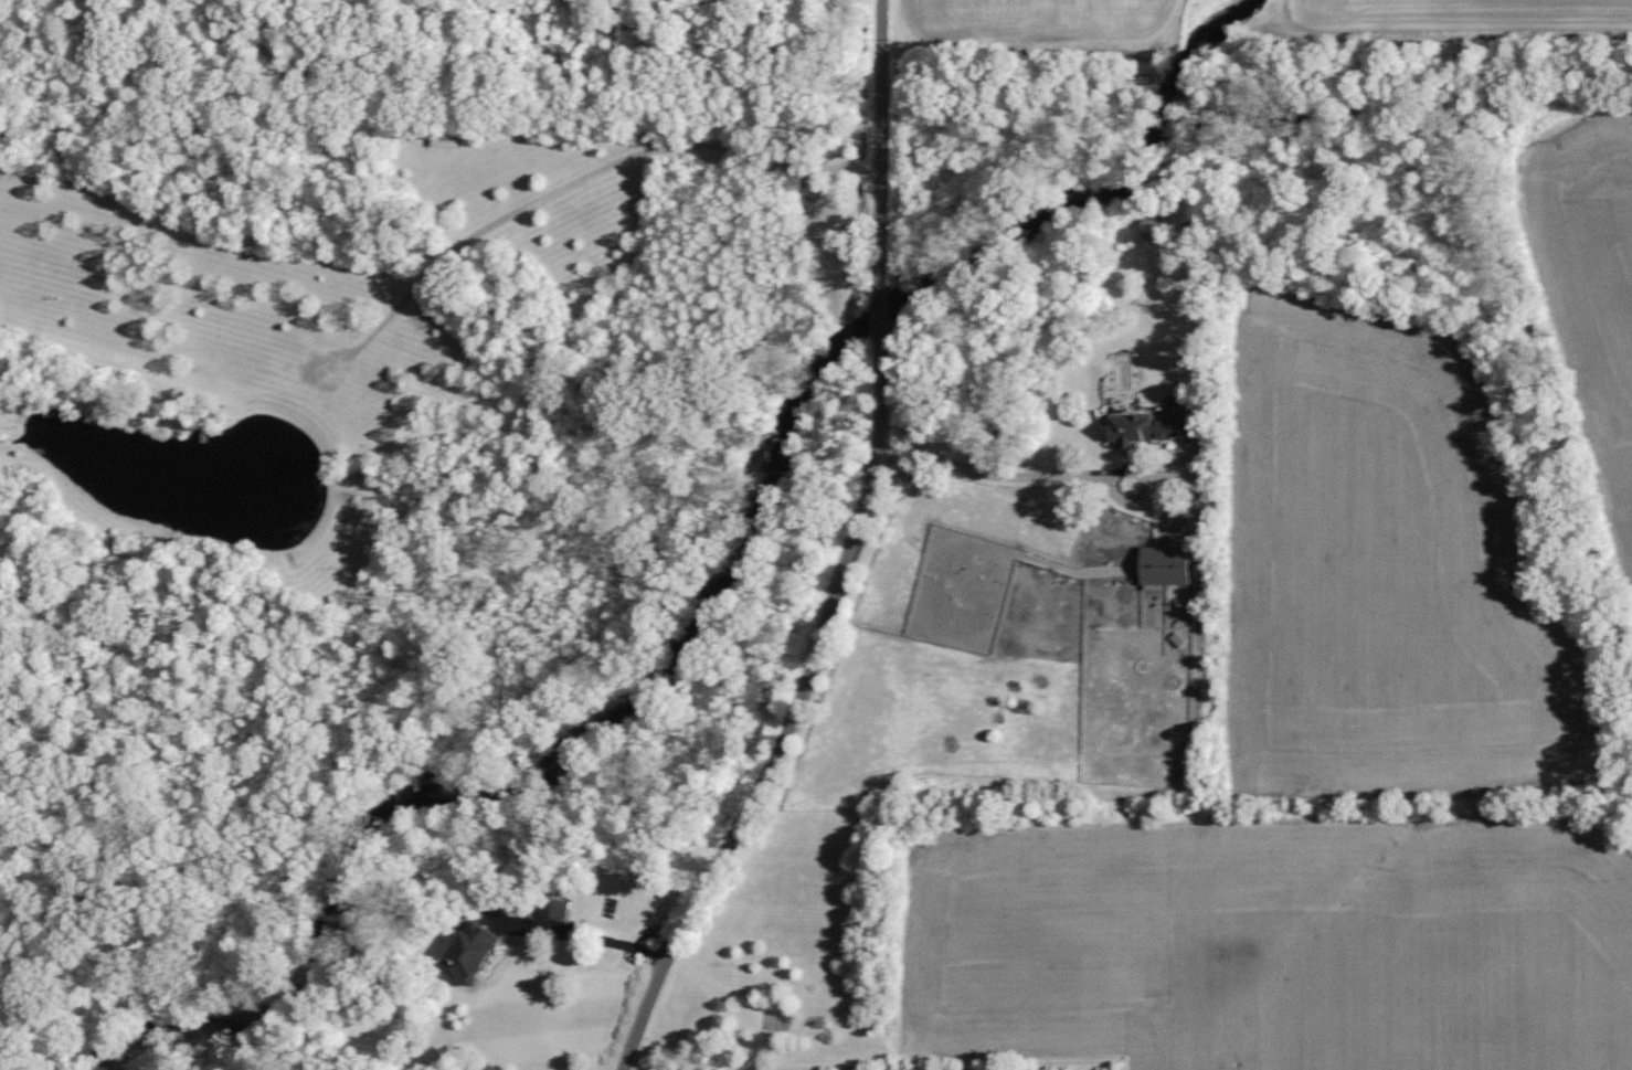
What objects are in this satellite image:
road: (884, 284)
building: (1142, 427)
building: (1183, 445)
road: (1004, 473)
building: (1159, 565)
road: (741, 817)
road: (590, 931)
building: (478, 954)

